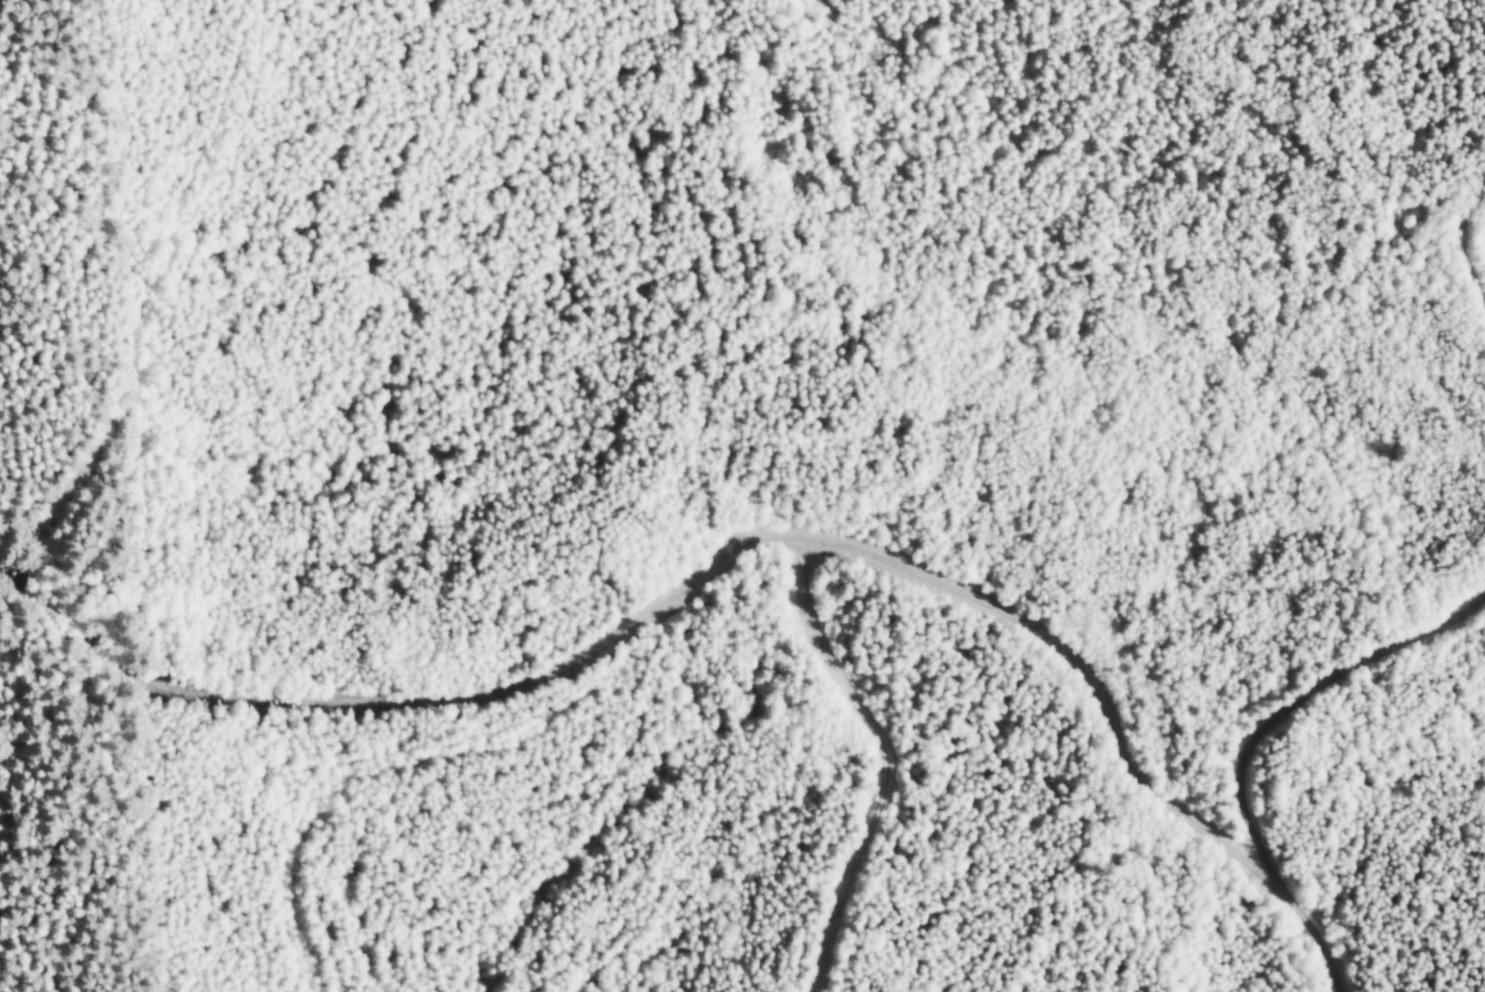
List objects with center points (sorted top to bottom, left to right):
road: (152, 294)
road: (730, 548)
road: (1298, 700)
road: (432, 752)
road: (885, 758)

